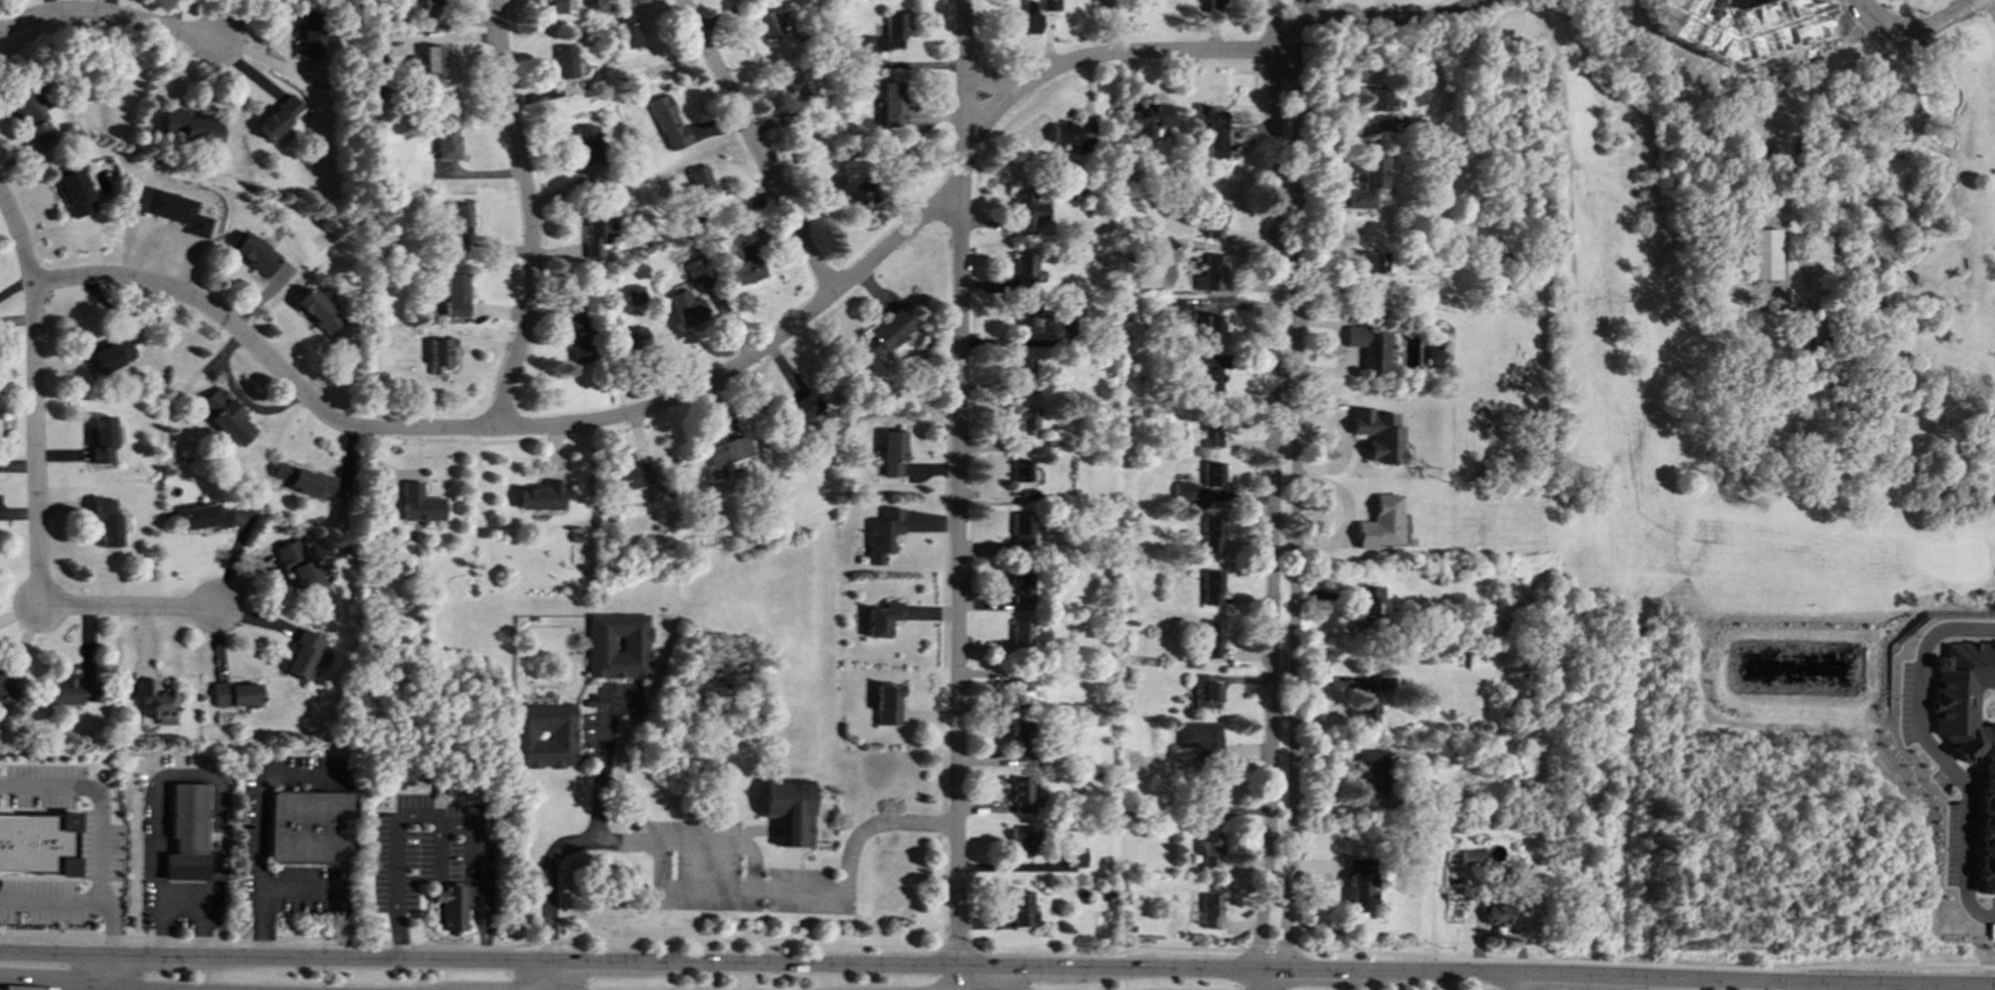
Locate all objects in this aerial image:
building: (1050, 5)
building: (1216, 5)
building: (560, 7)
road: (1990, 10)
road: (1952, 14)
road: (1993, 14)
road: (110, 15)
road: (1380, 15)
building: (1026, 19)
building: (624, 24)
building: (767, 24)
road: (1890, 24)
building: (1735, 26)
building: (309, 35)
building: (886, 35)
building: (376, 51)
road: (1285, 53)
road: (1103, 55)
building: (426, 61)
building: (564, 63)
road: (991, 85)
building: (800, 88)
building: (1374, 100)
building: (892, 104)
building: (30, 115)
building: (280, 117)
building: (666, 118)
building: (1149, 120)
building: (191, 126)
building: (1212, 129)
building: (1062, 132)
road: (1564, 134)
building: (447, 142)
building: (1082, 143)
building: (587, 144)
road: (755, 146)
building: (1366, 182)
building: (701, 183)
building: (854, 190)
building: (76, 192)
building: (1026, 208)
building: (178, 210)
road: (529, 214)
building: (1212, 218)
building: (461, 221)
road: (77, 229)
building: (597, 230)
building: (257, 253)
building: (1763, 253)
building: (1371, 262)
building: (746, 265)
building: (1023, 269)
building: (697, 270)
building: (1210, 273)
building: (455, 294)
building: (634, 295)
building: (686, 308)
building: (319, 310)
building: (1070, 311)
building: (1180, 311)
building: (1028, 318)
building: (1212, 330)
building: (887, 332)
building: (577, 333)
building: (636, 337)
building: (1368, 346)
building: (1434, 352)
building: (440, 353)
building: (114, 354)
building: (1022, 374)
road: (37, 396)
building: (802, 408)
building: (226, 416)
building: (1025, 418)
road: (504, 428)
building: (1214, 431)
building: (1376, 435)
building: (102, 438)
building: (727, 450)
building: (890, 453)
building: (1213, 472)
building: (630, 476)
building: (1022, 476)
building: (301, 479)
road: (958, 482)
road: (1273, 483)
road: (1294, 483)
building: (1182, 490)
building: (541, 496)
park: (1728, 501)
building: (418, 503)
building: (203, 516)
building: (105, 522)
building: (1379, 522)
building: (1022, 530)
building: (881, 533)
building: (1211, 534)
building: (296, 564)
building: (1020, 585)
building: (1211, 587)
building: (1365, 605)
road: (126, 606)
building: (882, 618)
building: (1021, 634)
building: (1210, 639)
building: (616, 644)
building: (302, 653)
building: (1382, 682)
building: (1017, 688)
building: (5, 689)
building: (66, 690)
building: (1204, 691)
building: (234, 694)
building: (151, 701)
building: (887, 704)
building: (1365, 709)
building: (1967, 730)
building: (541, 735)
building: (1200, 736)
building: (1022, 738)
road: (1932, 752)
building: (1371, 771)
building: (1023, 795)
building: (1210, 796)
road: (158, 799)
building: (788, 811)
road: (430, 818)
road: (594, 822)
road: (102, 824)
building: (310, 827)
road: (264, 828)
building: (186, 831)
building: (1024, 839)
building: (37, 844)
road: (724, 844)
building: (1210, 847)
building: (1075, 856)
building: (1470, 857)
building: (1359, 883)
road: (775, 887)
road: (50, 898)
building: (450, 906)
building: (1021, 908)
building: (1209, 910)
building: (1496, 912)
road: (158, 930)
road: (469, 947)
road: (957, 947)
road: (1270, 950)
road: (53, 952)
road: (1110, 953)
road: (148, 955)
road: (231, 957)
road: (410, 960)
road: (593, 961)
road: (816, 963)
road: (1645, 964)
road: (1032, 966)
road: (1163, 966)
road: (1303, 967)
road: (1435, 970)
road: (107, 972)
road: (1562, 973)
road: (548, 975)
road: (958, 977)
road: (993, 978)
road: (1256, 978)
road: (1272, 978)
road: (1800, 980)
road: (1518, 981)
road: (1, 985)
road: (54, 988)

